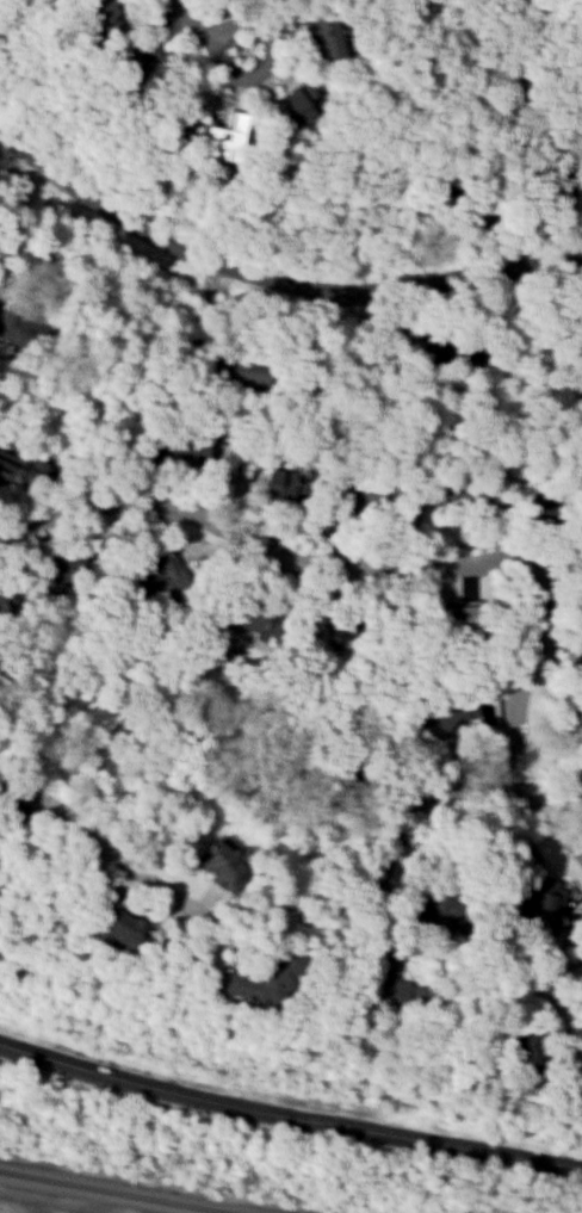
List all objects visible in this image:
building: (89, 16)
building: (316, 26)
road: (203, 27)
building: (144, 70)
building: (510, 88)
building: (291, 106)
building: (221, 135)
road: (540, 136)
building: (553, 178)
road: (17, 210)
road: (273, 278)
road: (197, 314)
building: (14, 327)
building: (451, 352)
building: (246, 372)
building: (185, 453)
building: (21, 466)
building: (283, 485)
building: (357, 494)
building: (537, 507)
road: (410, 562)
building: (61, 569)
building: (161, 576)
building: (5, 601)
building: (459, 615)
building: (256, 621)
building: (340, 631)
building: (460, 712)
building: (580, 719)
building: (348, 781)
road: (431, 794)
road: (105, 844)
building: (216, 861)
building: (538, 903)
building: (435, 909)
building: (122, 930)
road: (563, 965)
building: (259, 983)
building: (400, 1001)
building: (528, 1058)
building: (581, 1084)
road: (287, 1116)
railway: (116, 1192)

